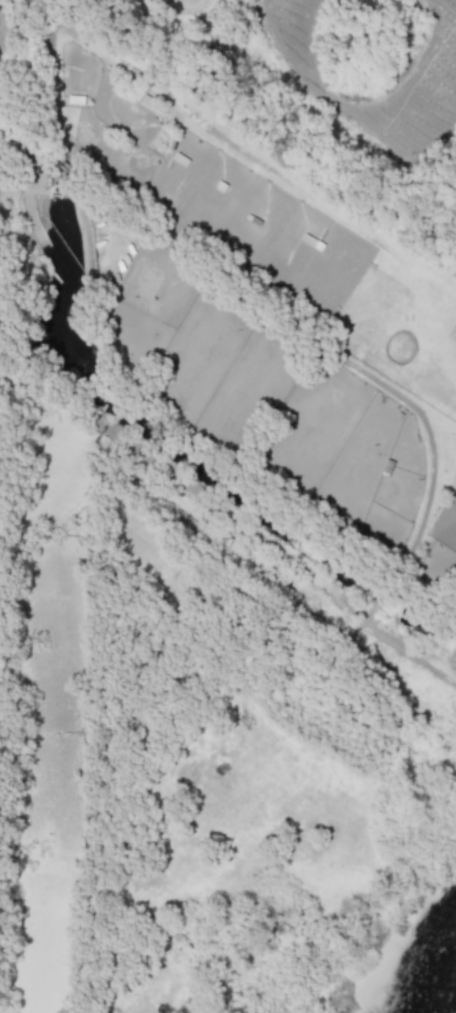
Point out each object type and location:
railway: (4, 145)
river: (50, 728)

